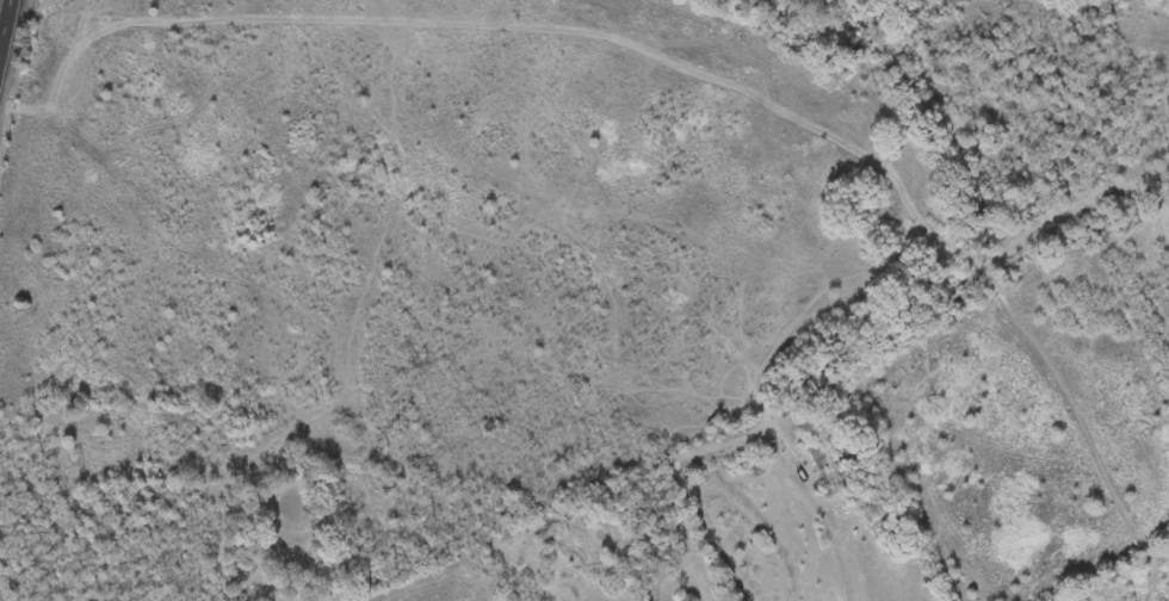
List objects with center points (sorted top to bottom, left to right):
road: (379, 19)
road: (4, 25)
road: (647, 56)
road: (601, 87)
road: (350, 97)
road: (305, 149)
road: (20, 202)
road: (38, 231)
road: (413, 280)
road: (692, 281)
road: (508, 352)
road: (431, 409)
road: (183, 426)
road: (635, 438)
building: (817, 454)
road: (44, 479)
road: (51, 498)
road: (175, 514)

